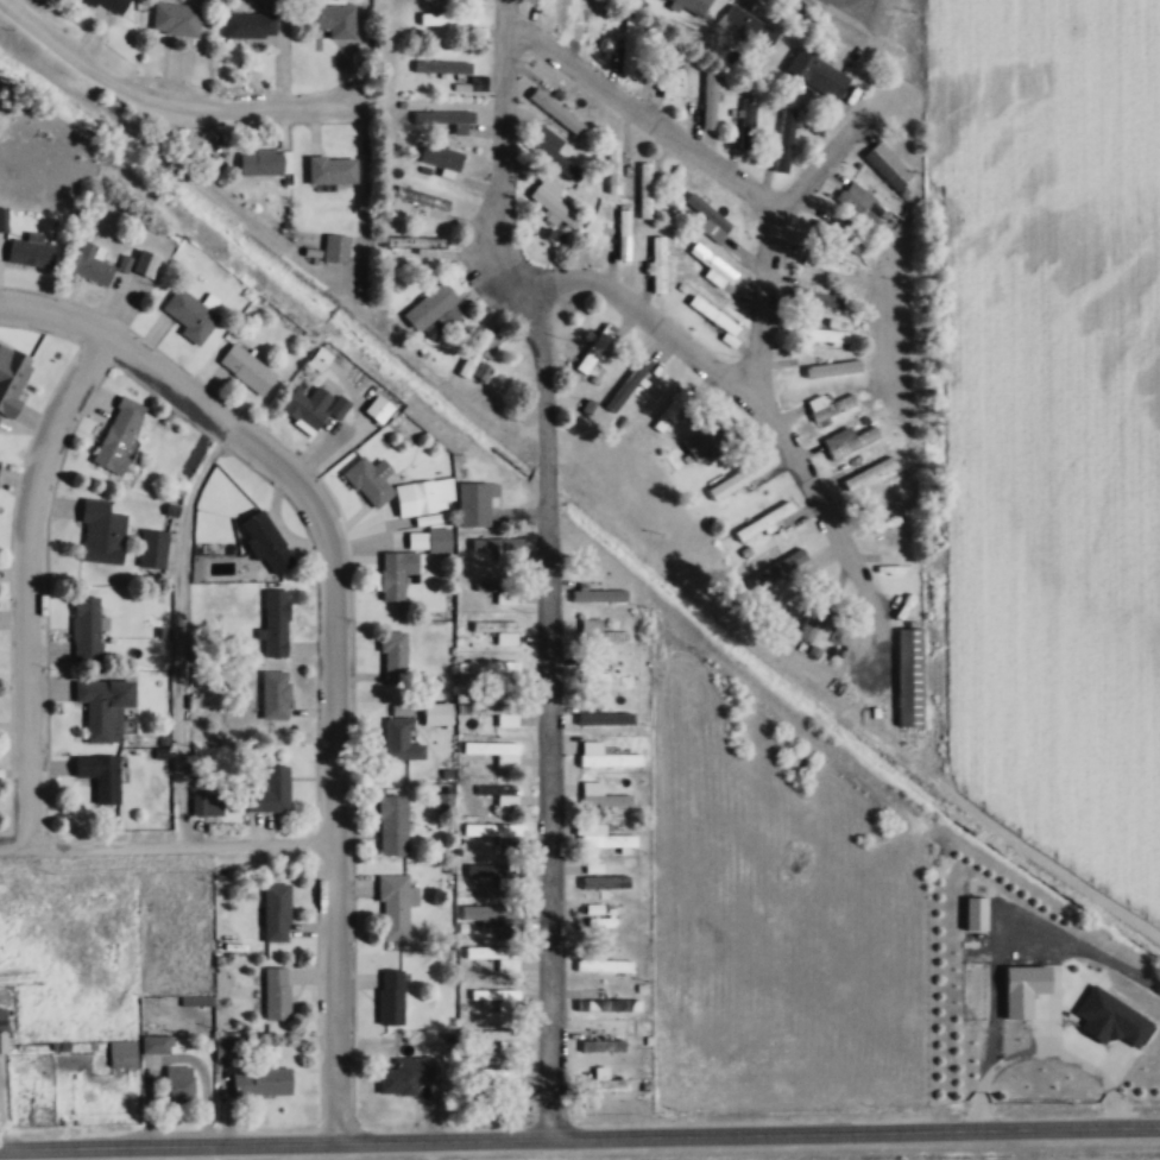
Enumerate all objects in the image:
road: (840, 1)
building: (693, 5)
building: (111, 6)
building: (540, 6)
building: (176, 18)
building: (447, 18)
building: (334, 19)
building: (248, 24)
building: (749, 27)
building: (631, 40)
building: (442, 65)
building: (666, 70)
building: (817, 74)
building: (710, 99)
road: (166, 101)
building: (556, 111)
road: (644, 114)
building: (442, 115)
building: (748, 121)
building: (784, 139)
building: (550, 150)
building: (440, 155)
building: (263, 162)
building: (613, 165)
building: (888, 166)
building: (332, 170)
building: (644, 189)
building: (427, 201)
building: (554, 206)
building: (864, 209)
road: (781, 212)
building: (2, 219)
building: (708, 219)
building: (623, 233)
building: (838, 238)
building: (414, 240)
building: (335, 247)
building: (30, 252)
building: (145, 263)
building: (824, 263)
building: (92, 264)
building: (657, 264)
building: (711, 265)
building: (430, 307)
building: (704, 308)
building: (190, 315)
road: (649, 316)
building: (828, 334)
building: (594, 347)
building: (478, 351)
building: (832, 367)
building: (246, 368)
building: (481, 371)
building: (12, 379)
building: (628, 383)
building: (828, 406)
building: (307, 408)
building: (378, 408)
building: (668, 410)
building: (118, 435)
building: (708, 437)
building: (849, 445)
building: (869, 473)
building: (370, 479)
building: (731, 481)
building: (435, 496)
building: (473, 504)
building: (763, 521)
building: (893, 523)
building: (100, 532)
building: (439, 540)
building: (266, 541)
building: (152, 548)
building: (502, 548)
building: (396, 573)
road: (32, 584)
building: (499, 590)
building: (603, 591)
building: (815, 610)
building: (276, 622)
building: (87, 629)
road: (185, 630)
road: (341, 630)
building: (500, 630)
building: (599, 632)
building: (393, 656)
building: (494, 670)
building: (909, 676)
building: (607, 677)
building: (275, 694)
building: (106, 707)
road: (553, 707)
building: (496, 712)
building: (606, 719)
building: (401, 739)
building: (494, 751)
building: (606, 756)
building: (100, 776)
building: (270, 790)
building: (500, 794)
building: (601, 795)
building: (442, 800)
building: (207, 802)
building: (392, 824)
building: (497, 832)
building: (604, 834)
road: (171, 847)
building: (493, 870)
building: (592, 870)
building: (618, 883)
building: (395, 906)
building: (276, 912)
building: (494, 914)
building: (606, 921)
building: (496, 956)
building: (598, 960)
building: (276, 992)
building: (390, 996)
building: (499, 1000)
building: (607, 1004)
building: (2, 1029)
building: (499, 1039)
building: (157, 1044)
building: (603, 1045)
building: (231, 1048)
building: (122, 1052)
building: (405, 1074)
building: (178, 1083)
building: (260, 1083)
building: (494, 1084)
building: (606, 1084)
road: (580, 1140)

